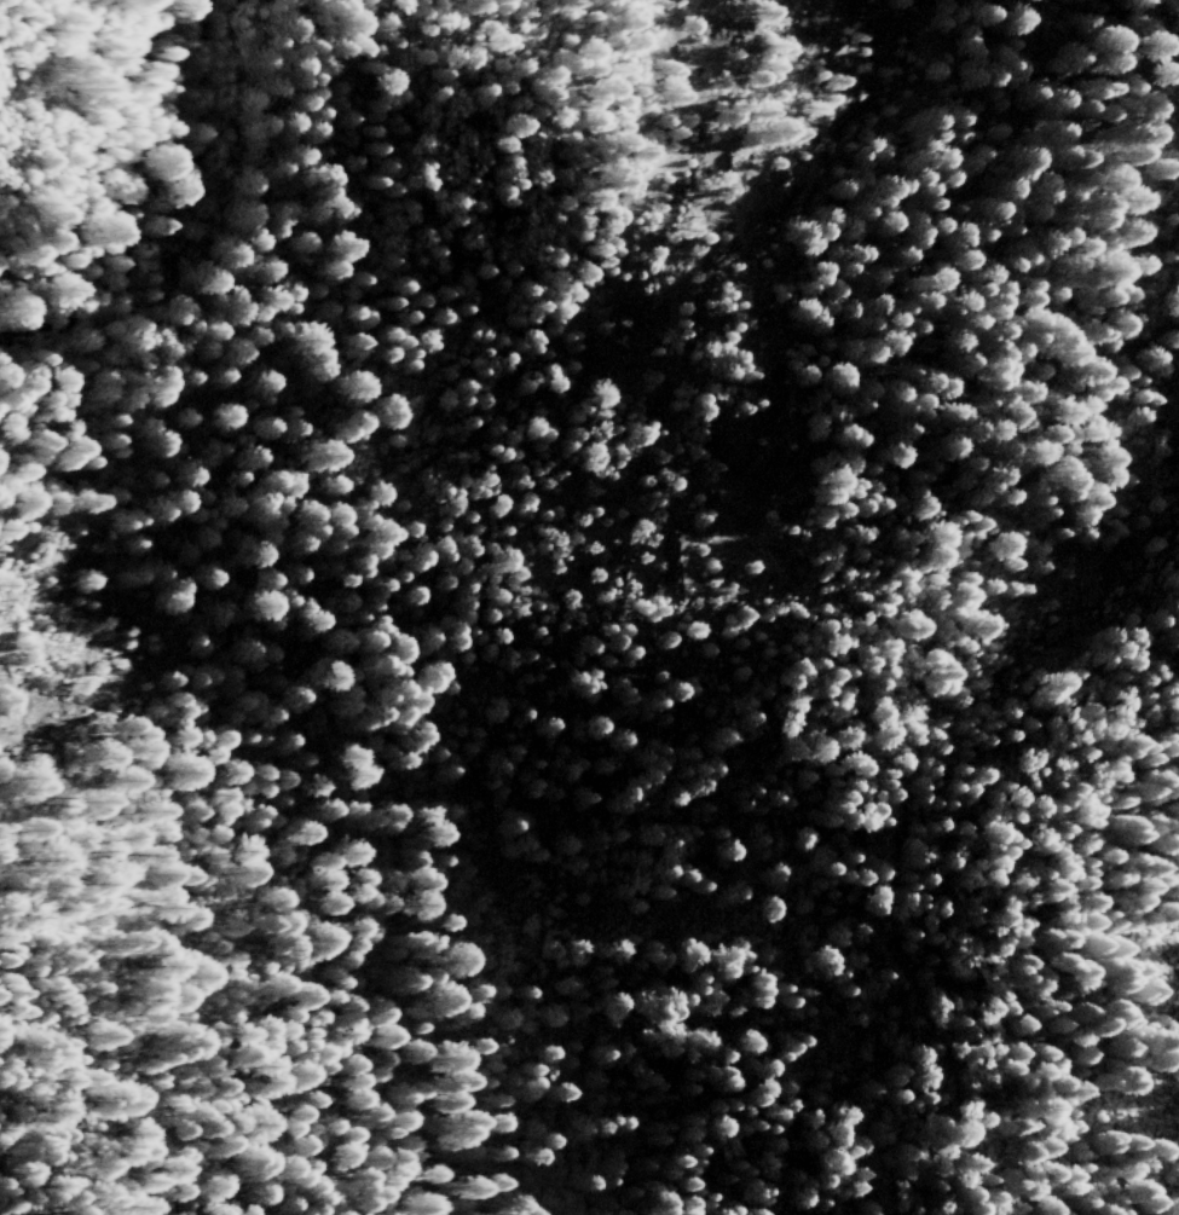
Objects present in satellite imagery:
road: (173, 199)

